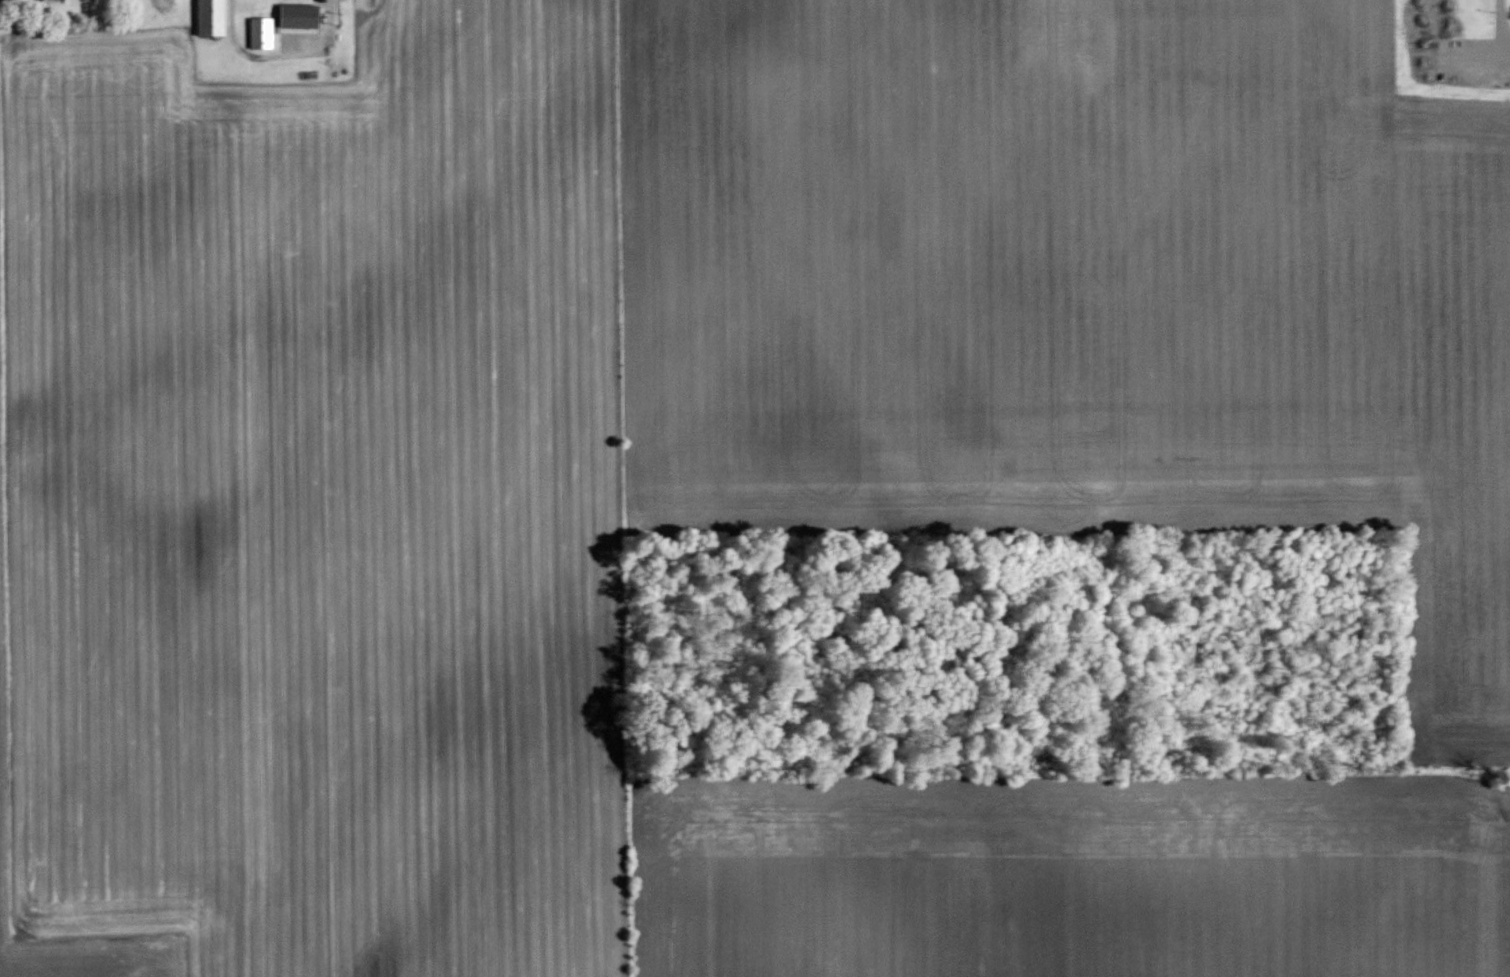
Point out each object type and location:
building: (306, 14)
building: (284, 15)
building: (205, 18)
road: (1501, 18)
road: (282, 59)

